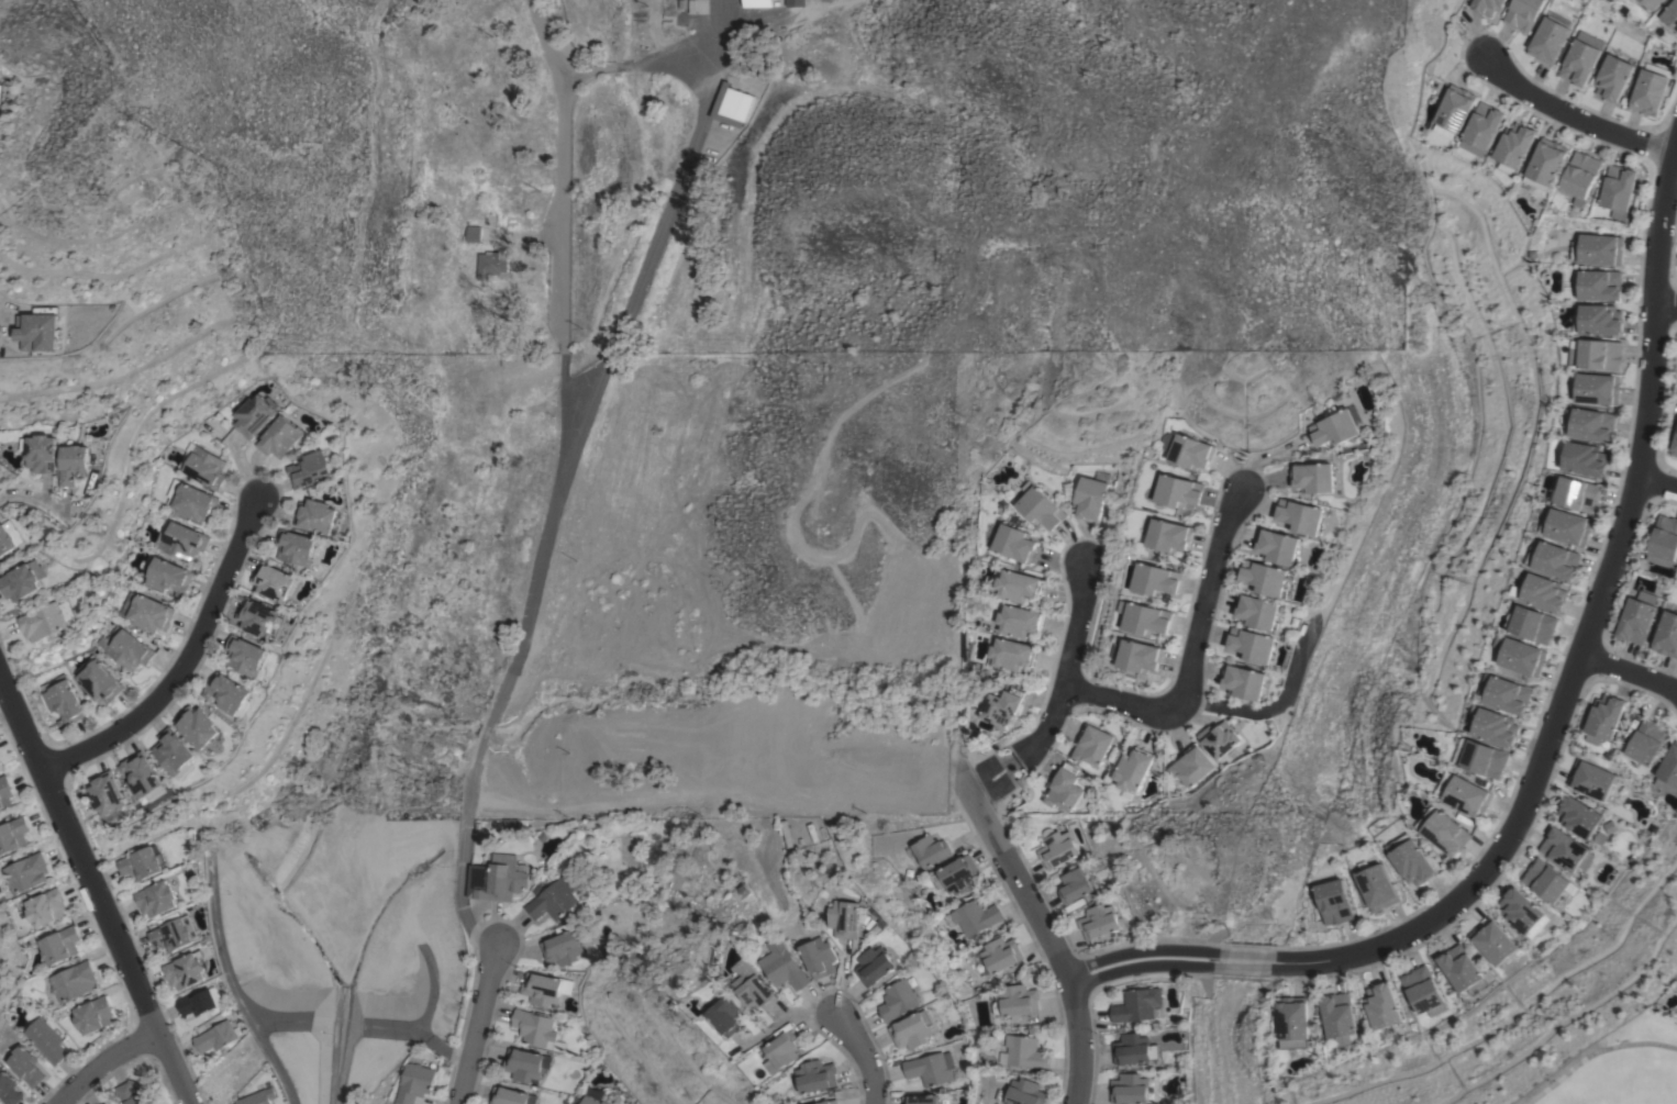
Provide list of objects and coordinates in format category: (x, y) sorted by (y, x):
building: (795, 2)
building: (757, 3)
building: (1652, 3)
building: (1485, 5)
building: (1522, 13)
building: (1670, 14)
building: (1548, 37)
building: (1580, 58)
road: (637, 62)
building: (1612, 77)
building: (1648, 89)
building: (724, 103)
building: (1452, 111)
road: (1575, 120)
building: (1482, 124)
building: (1514, 146)
building: (1546, 163)
power tower: (1178, 164)
building: (1580, 176)
building: (1618, 189)
road: (666, 212)
building: (473, 233)
building: (1598, 248)
building: (491, 263)
building: (1600, 283)
road: (1665, 306)
road: (4, 311)
building: (1598, 319)
building: (36, 331)
building: (1596, 354)
building: (1598, 388)
building: (254, 413)
building: (1590, 424)
building: (1334, 427)
building: (279, 437)
building: (1674, 446)
building: (1186, 450)
building: (40, 453)
building: (1585, 458)
building: (73, 462)
building: (202, 465)
building: (310, 469)
building: (1312, 477)
road: (557, 486)
road: (1656, 487)
building: (1177, 490)
building: (1577, 493)
building: (1090, 497)
road: (38, 498)
building: (191, 500)
building: (1039, 506)
building: (320, 515)
building: (1299, 516)
power tower: (820, 522)
building: (1567, 526)
building: (1168, 535)
building: (8, 537)
building: (182, 540)
building: (1664, 540)
building: (1014, 543)
building: (1276, 546)
building: (298, 547)
building: (1555, 559)
building: (168, 576)
building: (1263, 578)
building: (1155, 579)
building: (22, 580)
building: (277, 581)
building: (1018, 584)
building: (1544, 592)
building: (1256, 611)
building: (147, 612)
building: (1145, 617)
building: (1636, 617)
building: (263, 618)
building: (1017, 620)
building: (43, 622)
building: (1532, 623)
building: (1666, 634)
building: (1251, 645)
building: (125, 648)
road: (1582, 648)
road: (1187, 650)
building: (1012, 654)
building: (1521, 655)
building: (247, 656)
building: (1139, 656)
road: (180, 663)
road: (1628, 676)
building: (98, 679)
building: (1243, 681)
road: (1060, 692)
building: (1506, 693)
building: (230, 694)
building: (62, 700)
building: (1002, 707)
road: (8, 713)
building: (1603, 717)
building: (1493, 725)
building: (198, 726)
building: (1219, 738)
building: (1647, 741)
building: (1091, 745)
building: (174, 750)
power tower: (578, 752)
building: (1481, 757)
building: (1191, 766)
building: (186, 771)
building: (1132, 771)
building: (1667, 772)
building: (144, 777)
building: (1591, 779)
building: (1066, 790)
building: (4, 791)
building: (1465, 794)
building: (109, 795)
building: (1578, 816)
building: (1444, 830)
power tower: (492, 833)
building: (12, 834)
building: (1057, 849)
building: (930, 850)
building: (1565, 850)
building: (1411, 859)
building: (143, 862)
building: (25, 872)
building: (956, 874)
building: (495, 880)
building: (1544, 880)
building: (1075, 885)
building: (1377, 885)
road: (99, 888)
building: (156, 899)
building: (552, 900)
building: (1335, 901)
building: (45, 907)
building: (1522, 912)
building: (973, 916)
building: (847, 918)
building: (1098, 922)
building: (175, 934)
road: (1051, 939)
building: (1492, 941)
building: (59, 945)
building: (562, 948)
building: (997, 956)
building: (821, 957)
road: (1143, 961)
road: (1242, 961)
building: (785, 964)
building: (875, 964)
building: (1461, 969)
building: (186, 970)
building: (73, 981)
building: (544, 989)
building: (757, 990)
building: (1422, 991)
building: (899, 1000)
building: (1017, 1001)
building: (200, 1002)
building: (1136, 1004)
building: (1380, 1005)
building: (93, 1014)
road: (791, 1014)
building: (729, 1015)
building: (1339, 1017)
building: (1291, 1023)
road: (476, 1028)
building: (536, 1029)
building: (912, 1029)
building: (216, 1036)
building: (45, 1040)
building: (1134, 1049)
building: (784, 1051)
building: (1022, 1051)
road: (1591, 1052)
road: (860, 1053)
road: (105, 1062)
building: (526, 1064)
building: (25, 1066)
park: (1602, 1066)
building: (930, 1068)
building: (817, 1075)
building: (415, 1083)
building: (8, 1089)
building: (1129, 1089)
building: (1025, 1092)
building: (131, 1093)
building: (258, 1096)
building: (510, 1096)
building: (920, 1099)
building: (589, 1101)
building: (830, 1102)
building: (104, 1103)
building: (107, 1103)

